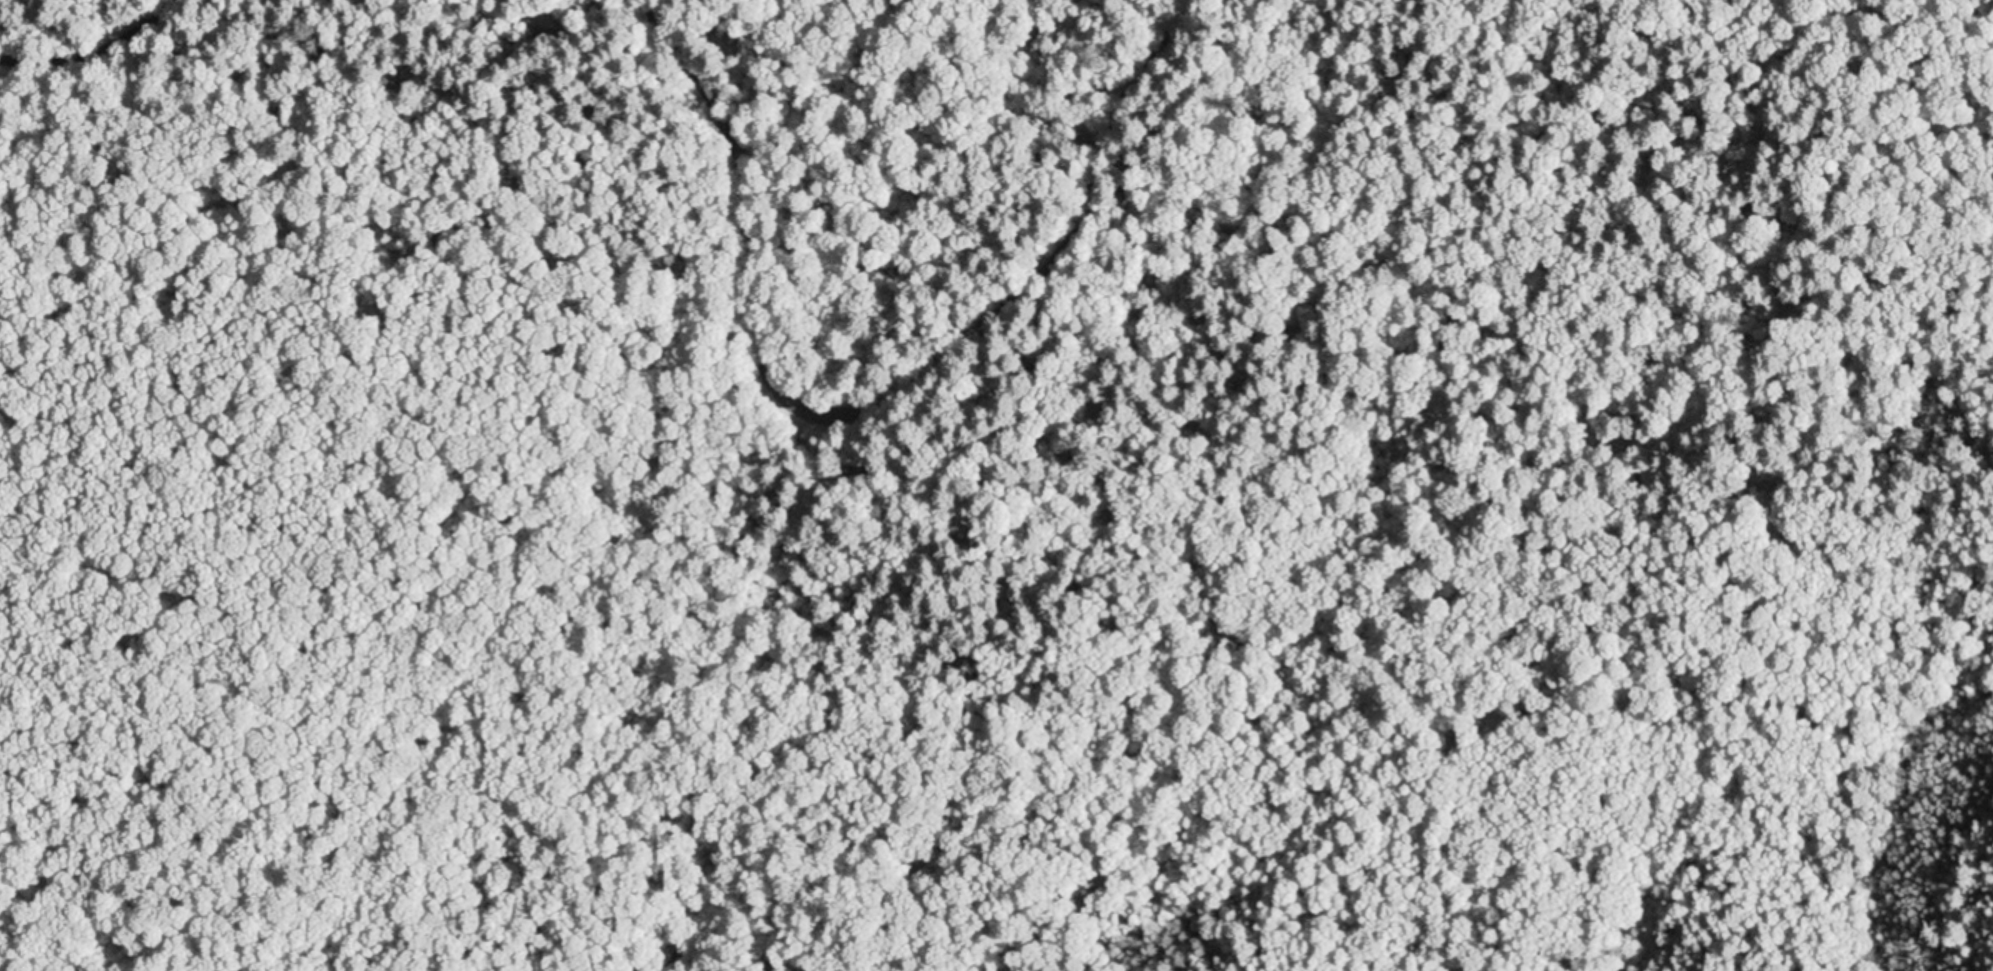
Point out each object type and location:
road: (93, 50)
road: (879, 408)

